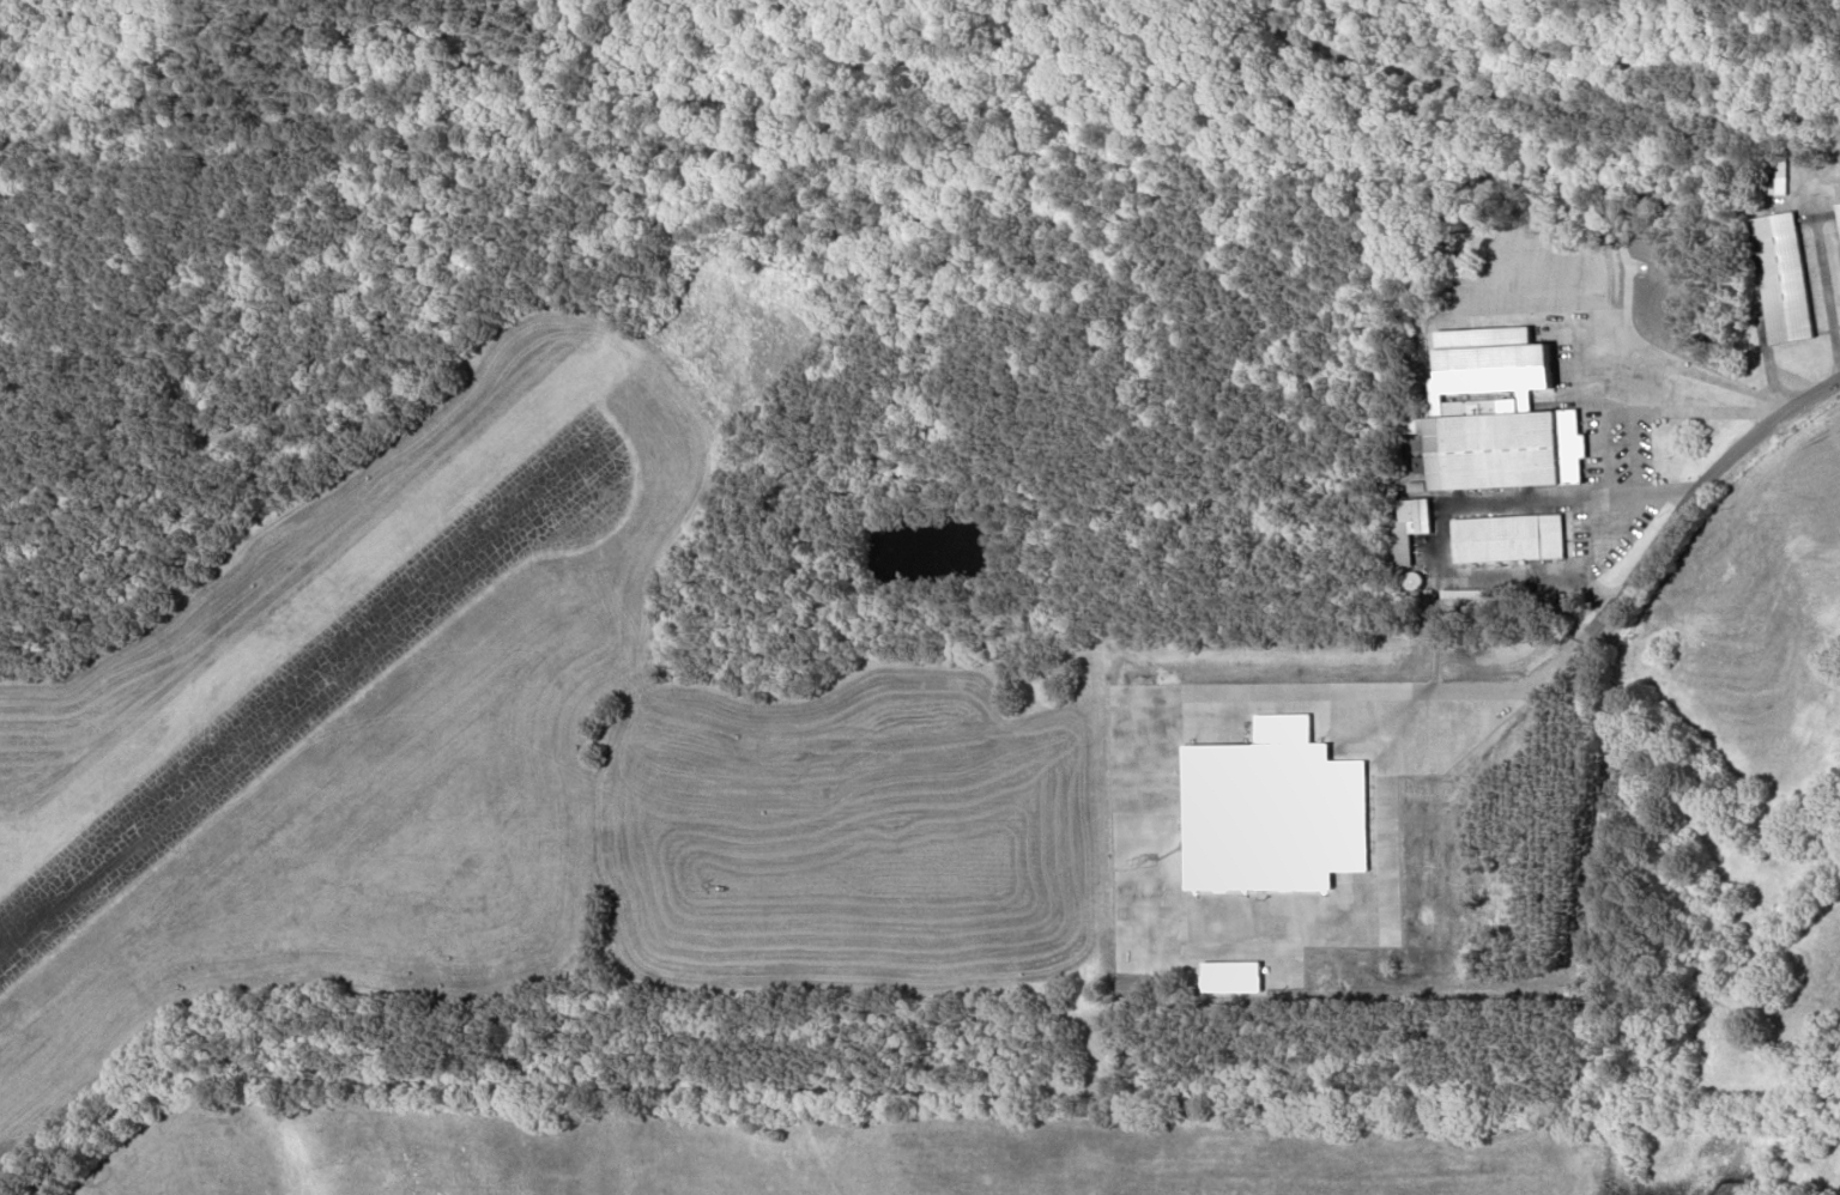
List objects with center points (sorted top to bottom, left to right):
building: (1838, 211)
building: (1785, 277)
building: (1508, 445)
building: (1409, 528)
building: (1509, 538)
road: (1644, 556)
airport runway: (305, 684)
building: (1122, 692)
building: (1276, 809)
airport taxiway: (55, 850)
building: (1233, 975)

